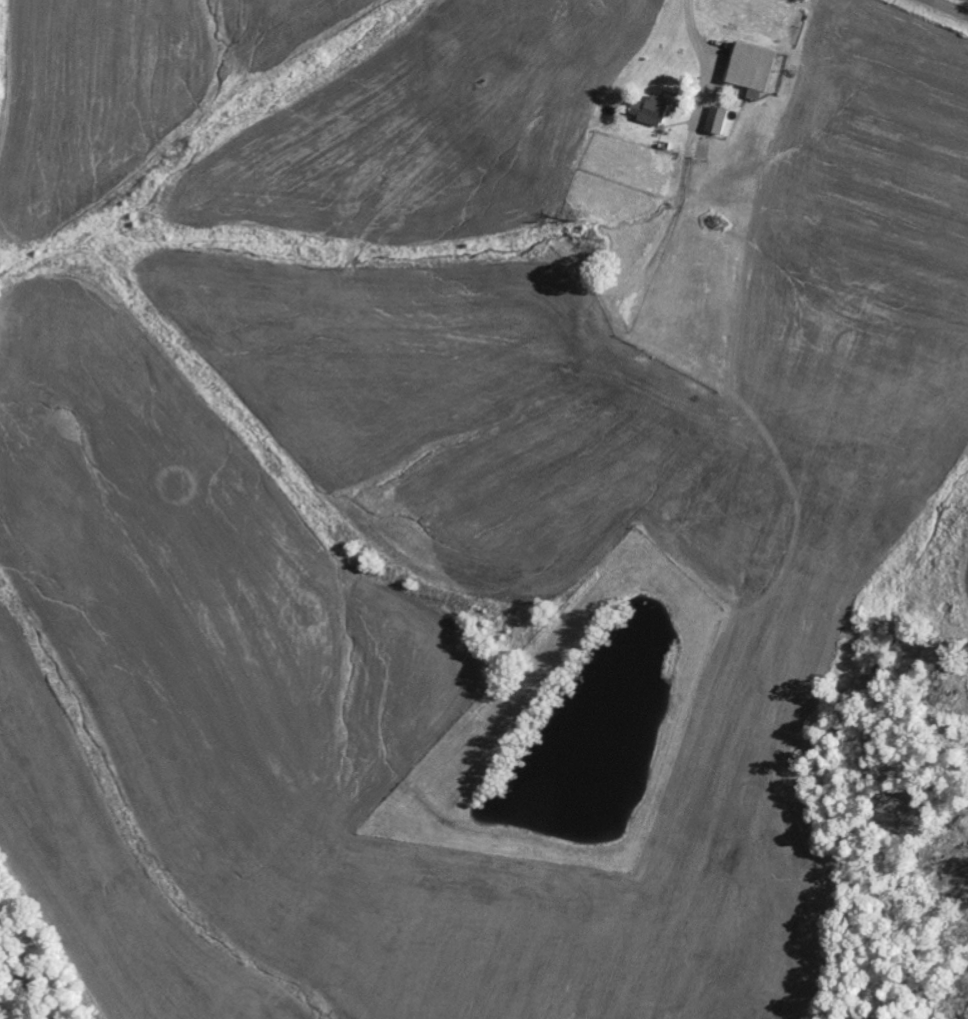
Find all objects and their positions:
road: (949, 7)
building: (755, 69)
building: (655, 111)
building: (720, 120)

